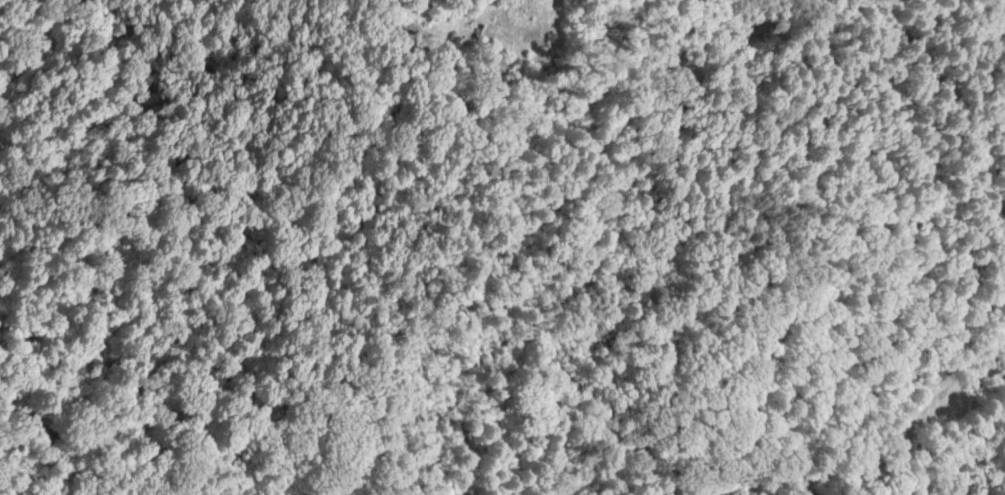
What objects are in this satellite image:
building: (485, 33)
building: (540, 39)

